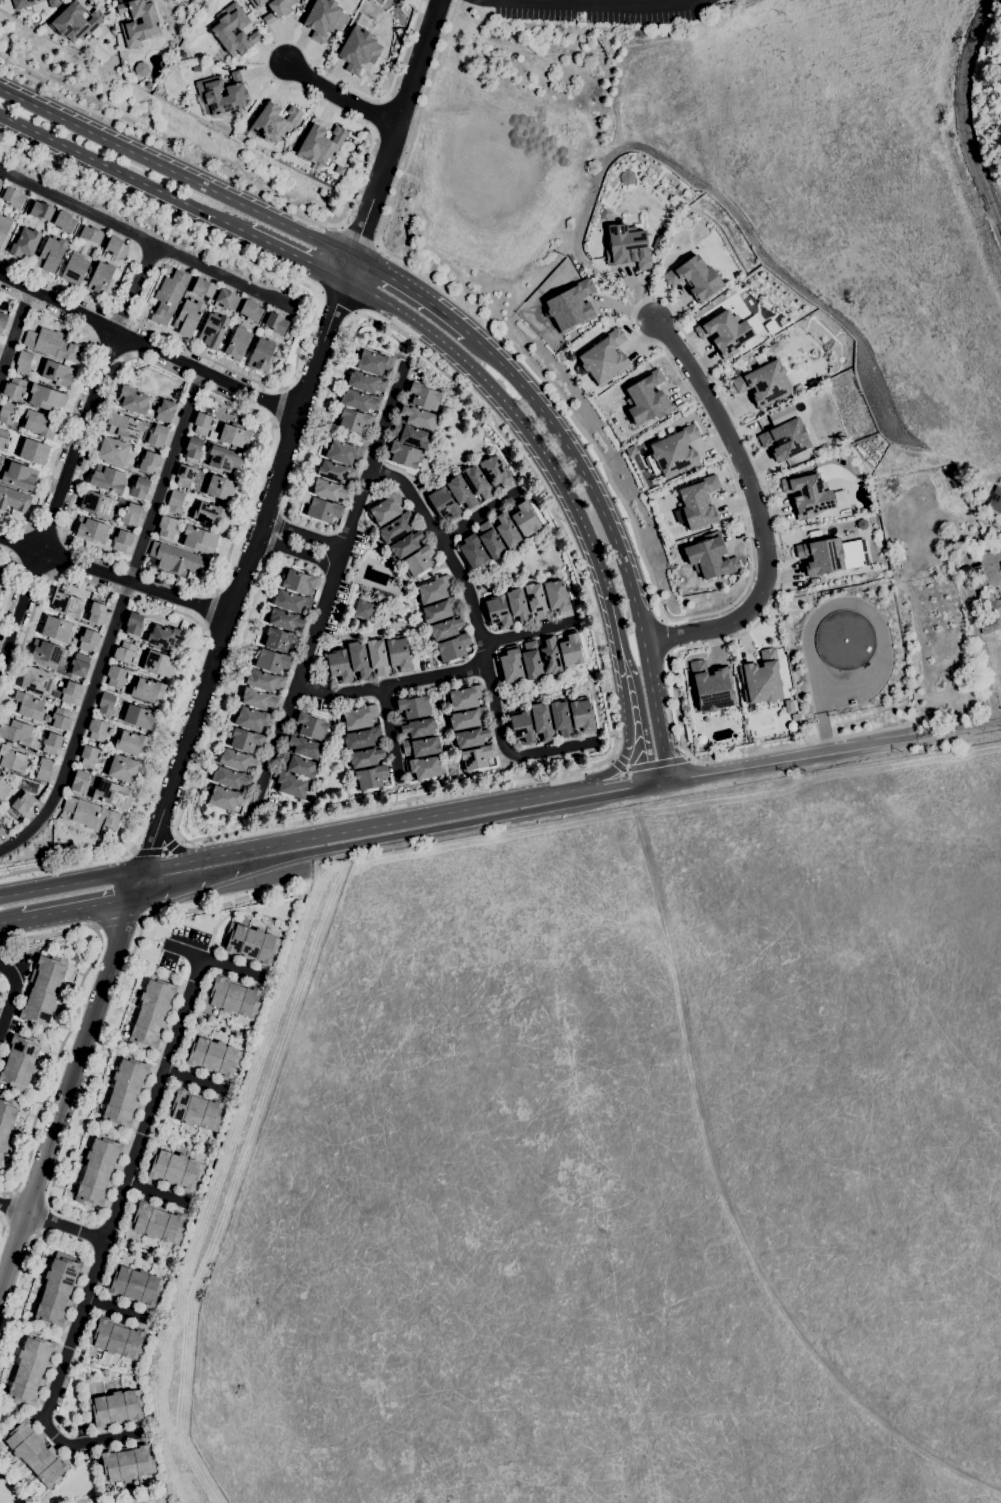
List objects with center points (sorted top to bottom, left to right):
building: (34, 1)
road: (994, 2)
building: (258, 3)
road: (597, 3)
building: (19, 4)
building: (278, 10)
parking lot: (600, 10)
building: (324, 19)
building: (75, 23)
building: (140, 26)
building: (221, 29)
building: (358, 50)
building: (182, 54)
building: (140, 69)
building: (148, 83)
building: (209, 93)
road: (339, 99)
road: (962, 120)
building: (273, 123)
road: (393, 127)
building: (320, 146)
road: (175, 173)
road: (124, 174)
road: (359, 175)
building: (0, 184)
building: (13, 198)
building: (41, 211)
building: (65, 222)
building: (4, 230)
road: (144, 233)
road: (358, 236)
building: (25, 244)
building: (116, 247)
building: (627, 247)
building: (51, 255)
building: (81, 256)
road: (296, 256)
road: (280, 274)
building: (695, 278)
building: (101, 279)
road: (135, 286)
building: (203, 288)
road: (64, 291)
road: (411, 291)
road: (8, 294)
building: (169, 297)
building: (227, 299)
road: (335, 305)
building: (571, 307)
building: (251, 310)
road: (55, 317)
building: (188, 318)
building: (2, 321)
building: (276, 323)
building: (213, 330)
building: (725, 333)
road: (18, 344)
building: (237, 344)
building: (52, 345)
building: (0, 347)
road: (148, 348)
road: (109, 350)
building: (262, 355)
building: (605, 358)
building: (23, 363)
building: (373, 363)
building: (57, 374)
building: (366, 383)
building: (764, 384)
building: (14, 388)
building: (423, 396)
building: (46, 399)
building: (647, 399)
building: (133, 401)
building: (360, 401)
road: (279, 407)
road: (510, 410)
building: (165, 411)
road: (320, 412)
building: (7, 414)
building: (417, 417)
building: (355, 421)
building: (202, 424)
road: (381, 424)
building: (39, 425)
building: (125, 426)
building: (212, 435)
building: (411, 435)
building: (157, 436)
building: (235, 436)
building: (3, 438)
building: (785, 440)
road: (78, 443)
road: (716, 444)
road: (60, 448)
building: (194, 449)
building: (33, 452)
building: (113, 452)
building: (675, 452)
building: (344, 453)
building: (404, 454)
road: (86, 455)
building: (0, 459)
building: (224, 460)
building: (149, 462)
building: (0, 467)
building: (335, 472)
building: (496, 472)
road: (165, 476)
building: (185, 476)
building: (20, 477)
building: (108, 480)
building: (477, 482)
building: (140, 488)
building: (218, 488)
building: (330, 490)
road: (411, 493)
building: (461, 493)
building: (808, 496)
road: (246, 499)
building: (14, 500)
building: (995, 500)
building: (175, 503)
building: (699, 503)
building: (444, 504)
building: (97, 505)
building: (323, 510)
building: (386, 510)
road: (757, 510)
road: (283, 513)
building: (131, 515)
building: (210, 515)
road: (478, 516)
building: (524, 519)
building: (167, 527)
building: (396, 528)
building: (91, 531)
building: (507, 531)
road: (46, 532)
road: (273, 534)
road: (613, 536)
building: (199, 540)
building: (122, 541)
building: (491, 541)
road: (301, 543)
road: (21, 544)
building: (406, 544)
building: (961, 546)
building: (473, 551)
building: (952, 553)
road: (55, 556)
road: (267, 557)
building: (710, 557)
building: (821, 557)
building: (177, 559)
building: (418, 561)
building: (1000, 563)
road: (32, 570)
building: (2, 574)
road: (336, 575)
road: (114, 577)
road: (431, 578)
building: (299, 582)
road: (13, 585)
road: (473, 587)
building: (434, 590)
building: (0, 591)
road: (409, 593)
building: (557, 597)
building: (536, 601)
building: (291, 602)
road: (20, 603)
building: (66, 603)
road: (35, 604)
building: (518, 607)
road: (611, 608)
road: (210, 610)
building: (439, 610)
building: (363, 611)
building: (498, 612)
building: (989, 613)
building: (97, 614)
building: (286, 620)
building: (134, 625)
building: (446, 628)
building: (57, 630)
road: (368, 634)
road: (527, 634)
road: (976, 635)
building: (164, 637)
building: (88, 640)
building: (279, 640)
building: (845, 640)
building: (453, 648)
building: (570, 650)
building: (47, 653)
building: (125, 653)
building: (398, 654)
road: (483, 656)
building: (550, 656)
building: (378, 657)
building: (359, 660)
building: (272, 661)
building: (531, 661)
building: (158, 664)
building: (79, 665)
building: (511, 665)
building: (339, 666)
building: (116, 677)
building: (761, 679)
building: (37, 681)
building: (264, 681)
road: (433, 682)
building: (712, 687)
building: (148, 690)
building: (70, 692)
road: (339, 695)
building: (464, 698)
building: (259, 700)
road: (639, 701)
building: (852, 703)
building: (106, 704)
building: (29, 706)
building: (413, 707)
road: (624, 714)
building: (582, 716)
building: (139, 717)
building: (359, 718)
building: (468, 719)
building: (561, 719)
building: (61, 720)
building: (252, 720)
building: (542, 722)
road: (78, 726)
building: (310, 726)
building: (417, 728)
building: (522, 728)
building: (97, 731)
building: (16, 732)
road: (957, 733)
road: (389, 734)
building: (471, 738)
building: (362, 739)
building: (246, 741)
building: (51, 743)
building: (132, 744)
road: (275, 746)
building: (304, 747)
building: (421, 747)
road: (508, 752)
building: (89, 757)
building: (366, 757)
road: (160, 758)
building: (476, 758)
building: (12, 759)
building: (237, 760)
road: (791, 761)
building: (298, 765)
building: (424, 768)
building: (122, 769)
building: (44, 770)
building: (0, 775)
road: (175, 775)
building: (371, 778)
building: (231, 779)
road: (515, 779)
building: (80, 782)
road: (661, 783)
building: (290, 785)
road: (619, 786)
building: (4, 790)
building: (111, 794)
building: (225, 798)
building: (23, 804)
building: (90, 814)
road: (455, 826)
building: (1, 831)
road: (292, 842)
road: (172, 845)
road: (197, 881)
road: (80, 908)
road: (11, 921)
road: (117, 924)
building: (252, 945)
road: (214, 962)
building: (42, 992)
road: (11, 996)
building: (233, 997)
road: (118, 1008)
building: (153, 1012)
road: (74, 1022)
building: (213, 1057)
building: (19, 1062)
road: (195, 1080)
building: (126, 1092)
building: (195, 1110)
building: (6, 1122)
building: (175, 1170)
building: (99, 1171)
road: (157, 1193)
road: (120, 1198)
road: (727, 1204)
road: (1, 1219)
building: (156, 1223)
road: (52, 1224)
road: (1, 1225)
road: (27, 1262)
building: (135, 1286)
building: (58, 1291)
road: (118, 1308)
building: (117, 1339)
building: (31, 1370)
building: (116, 1409)
road: (99, 1441)
building: (35, 1453)
building: (126, 1464)
park: (16, 1484)
road: (145, 1502)

